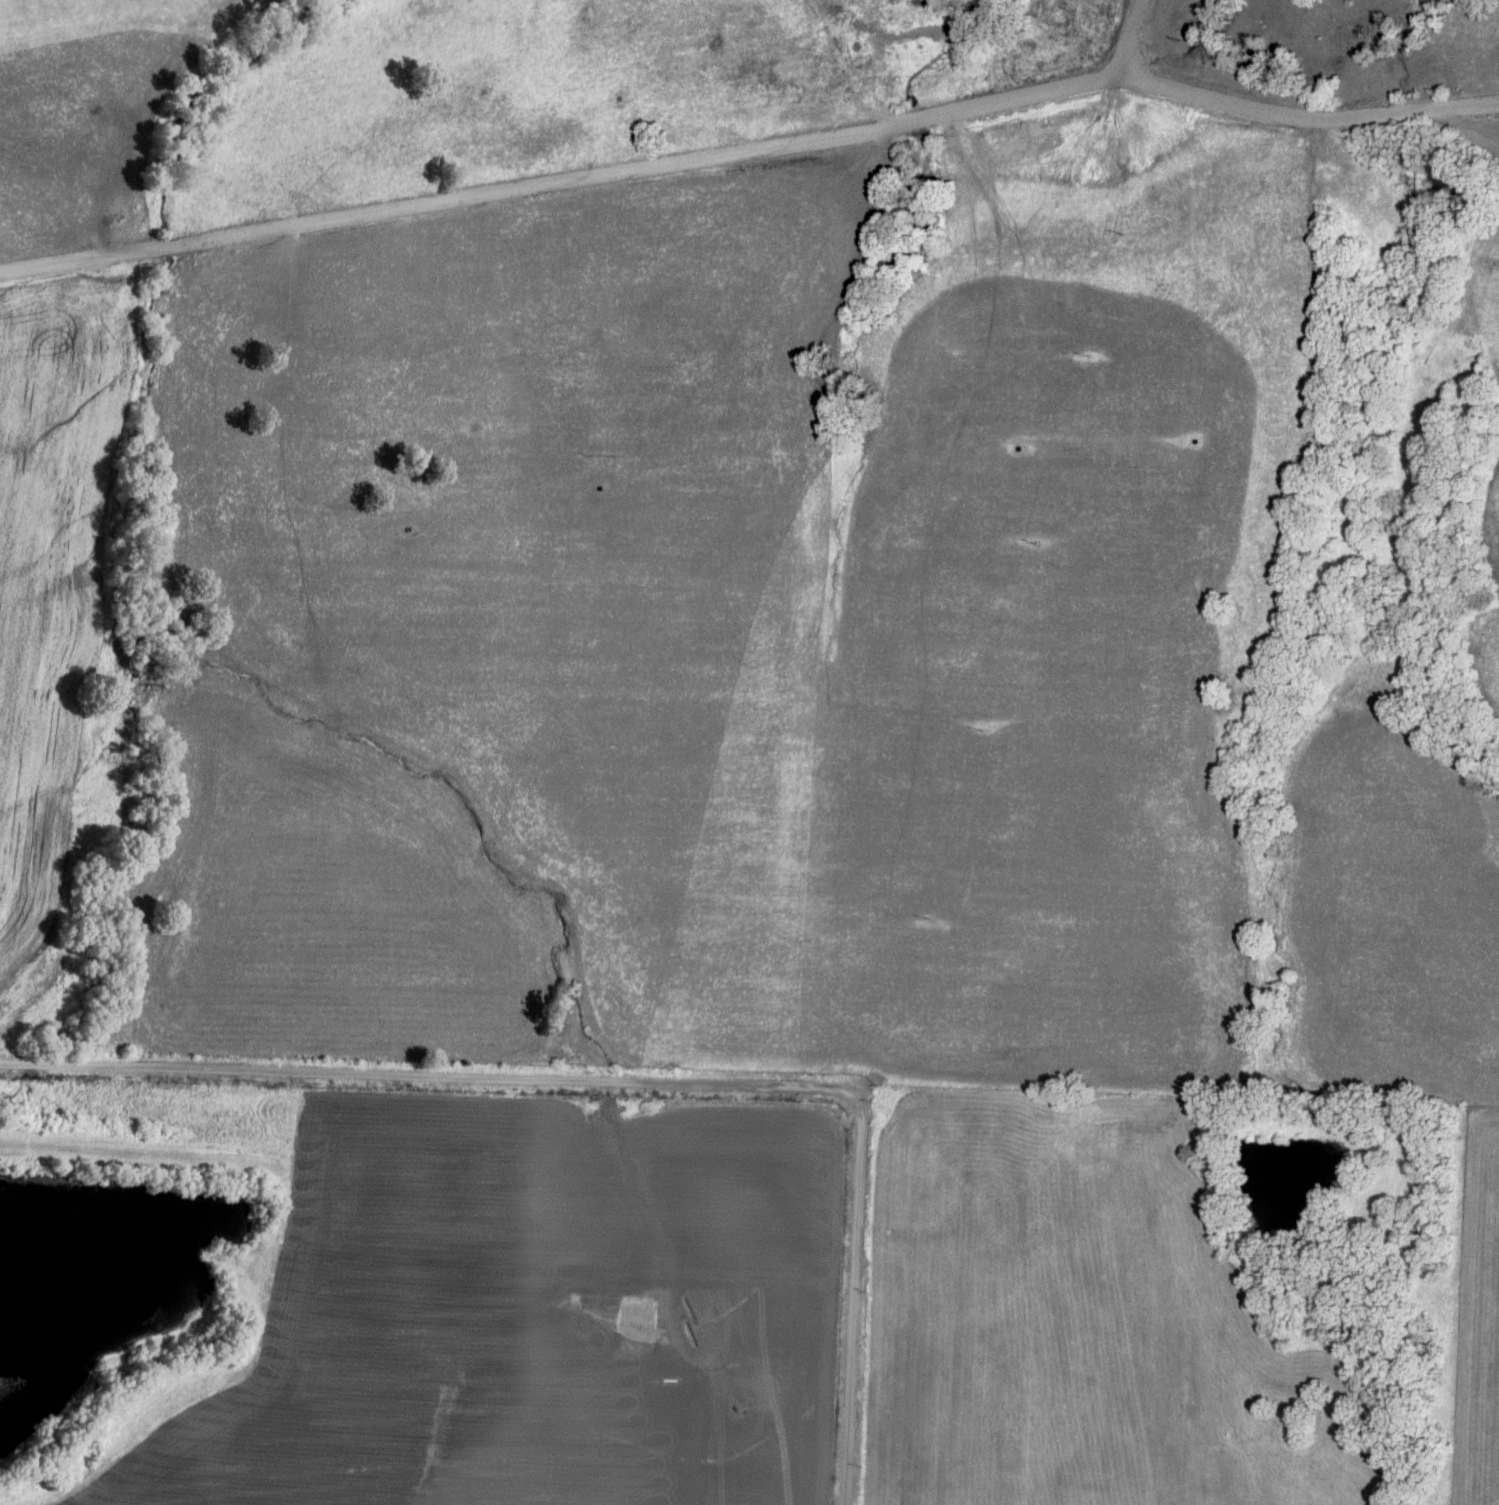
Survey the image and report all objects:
road: (425, 1074)
road: (854, 1298)

